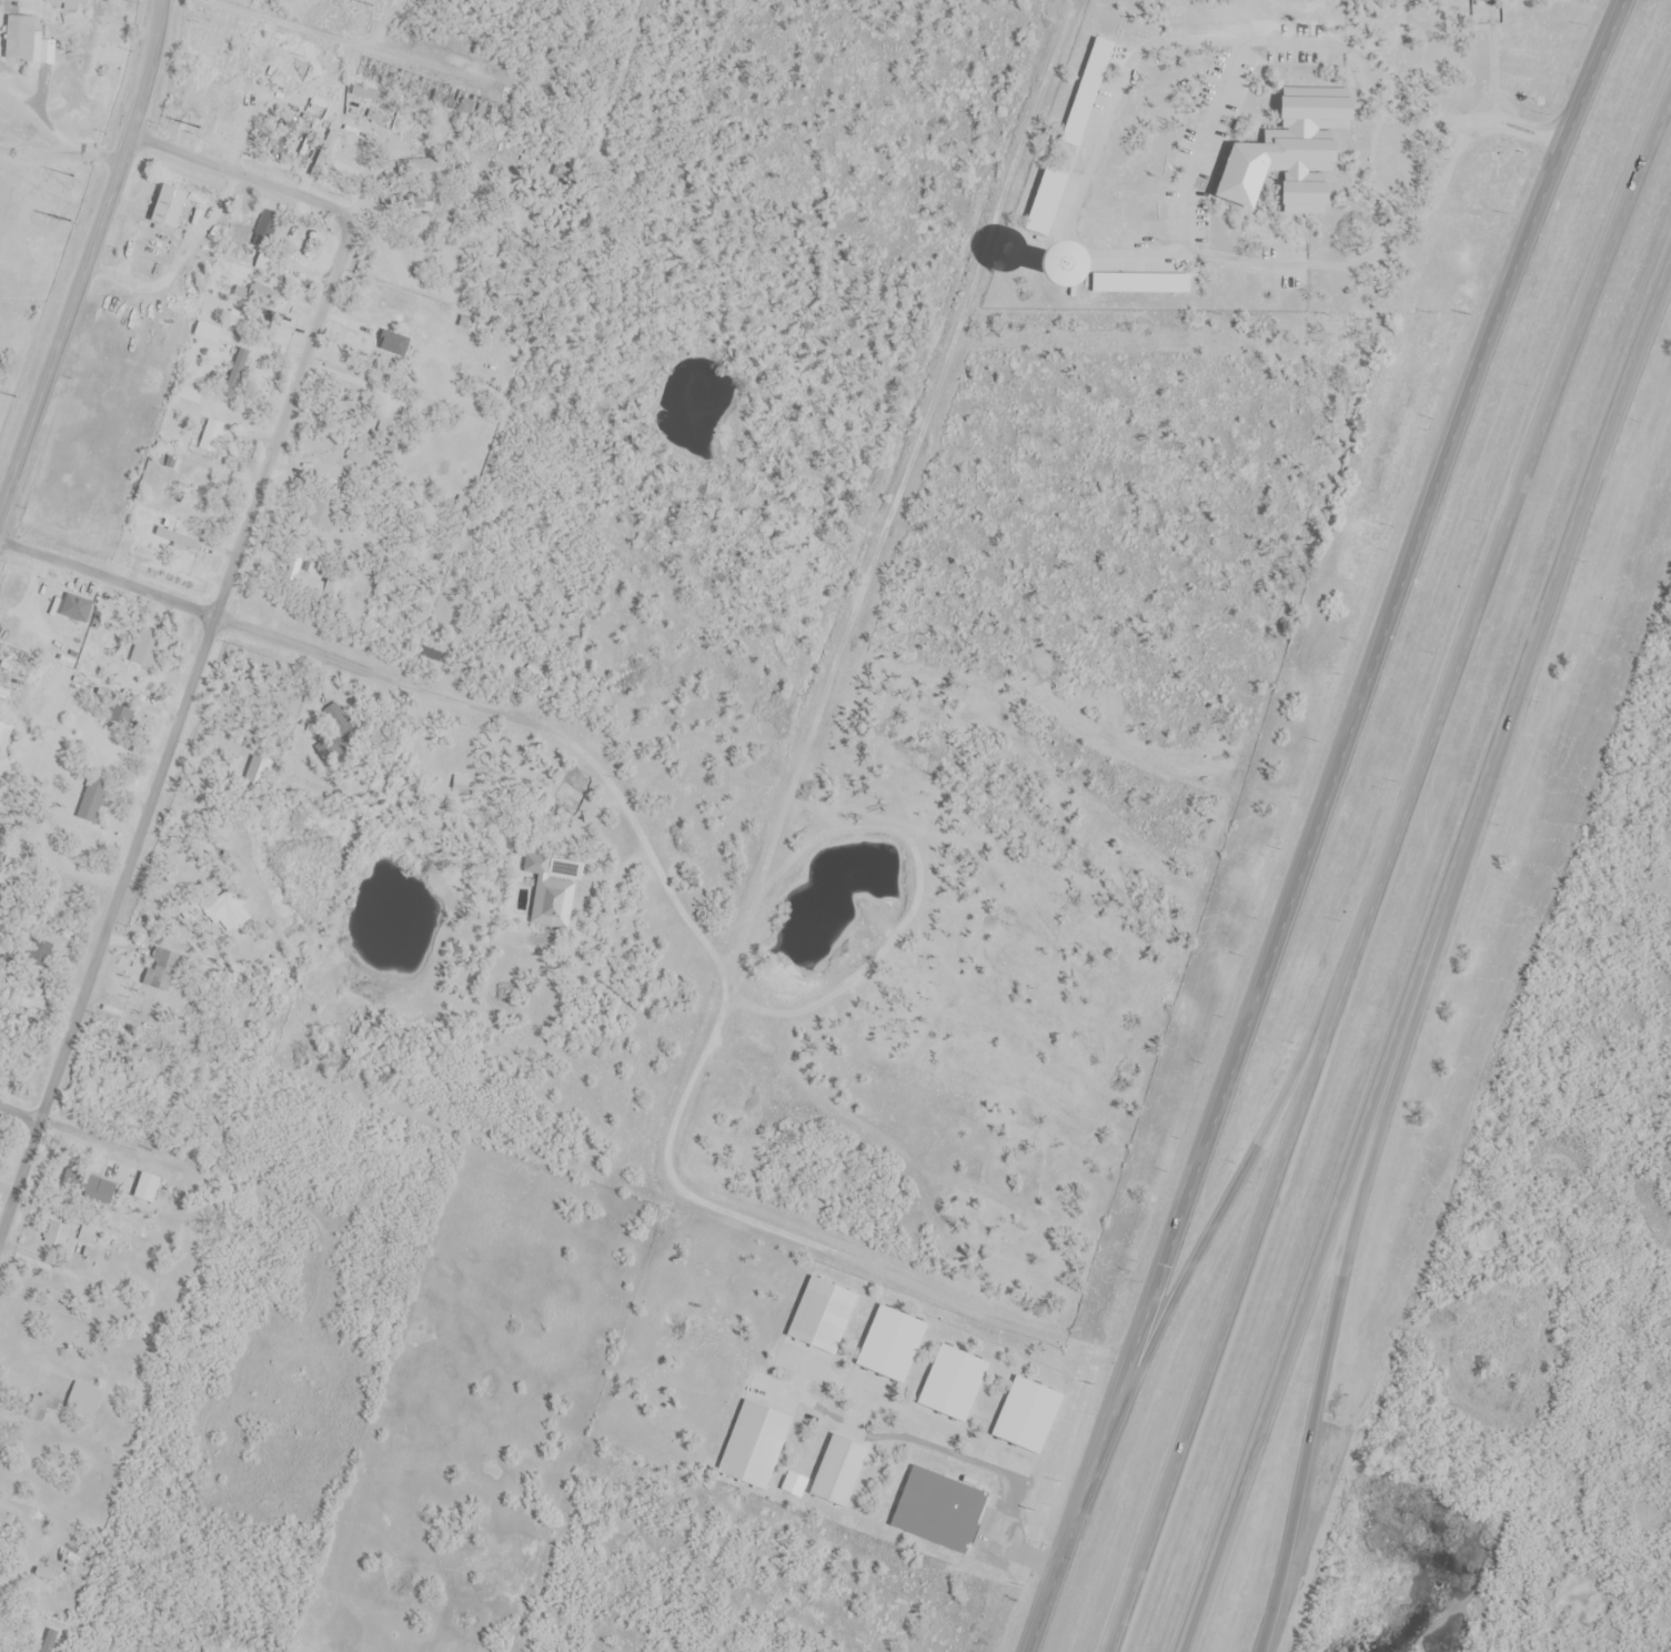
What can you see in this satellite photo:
building: (20, 36)
road: (348, 42)
building: (299, 85)
building: (432, 92)
building: (182, 93)
building: (229, 112)
building: (1303, 125)
road: (1095, 151)
road: (241, 178)
building: (415, 199)
building: (168, 208)
building: (265, 232)
road: (90, 261)
road: (1246, 261)
building: (265, 263)
building: (255, 296)
building: (207, 333)
building: (391, 343)
building: (244, 362)
road: (280, 421)
building: (385, 429)
building: (212, 437)
building: (364, 450)
building: (322, 514)
building: (175, 537)
building: (296, 576)
building: (330, 591)
road: (179, 605)
building: (77, 610)
building: (430, 656)
building: (18, 671)
building: (120, 716)
building: (3, 739)
building: (258, 773)
road: (1337, 774)
building: (92, 802)
road: (1390, 886)
building: (548, 895)
road: (108, 935)
road: (1427, 955)
road: (103, 1138)
building: (57, 1233)
road: (1216, 1233)
road: (1355, 1265)
building: (83, 1400)
building: (40, 1408)
building: (838, 1471)
building: (938, 1510)
building: (47, 1644)

